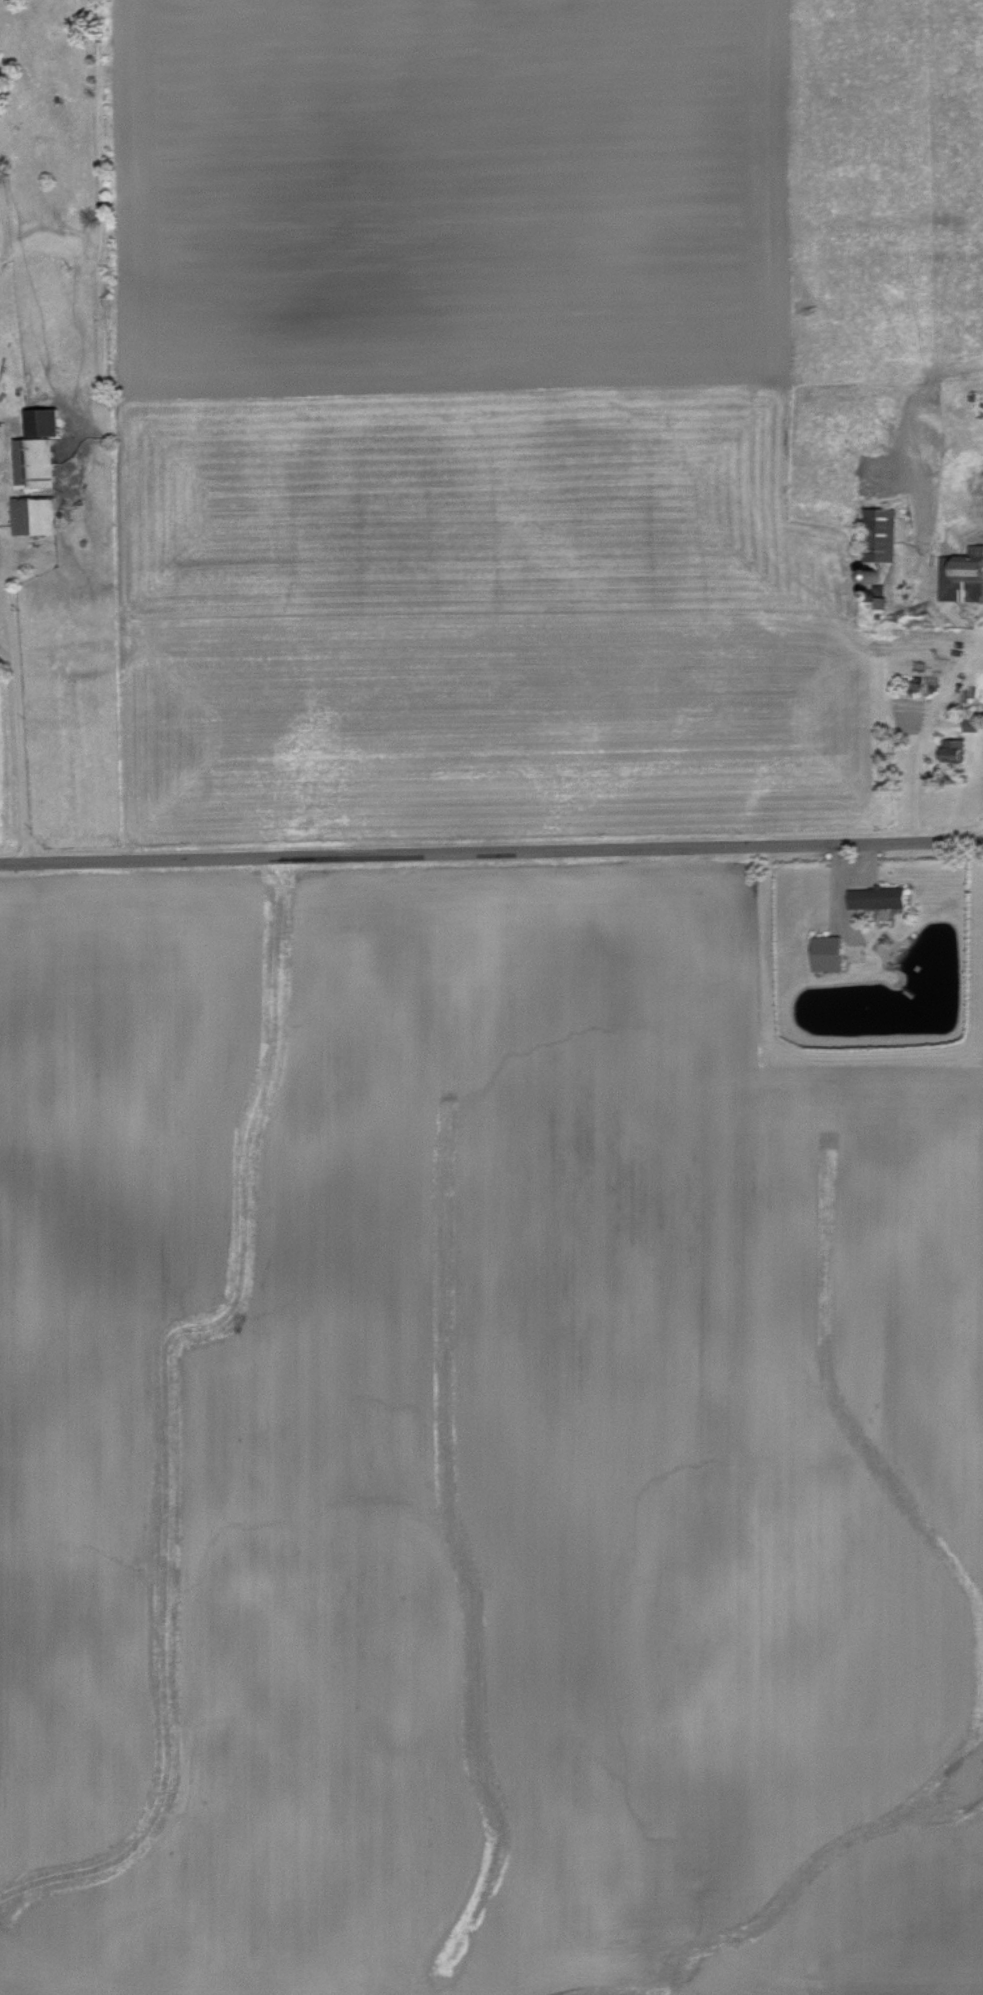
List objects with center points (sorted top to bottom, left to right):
building: (34, 449)
building: (31, 514)
building: (961, 574)
building: (950, 746)
road: (14, 748)
road: (491, 850)
building: (874, 895)
building: (824, 951)

